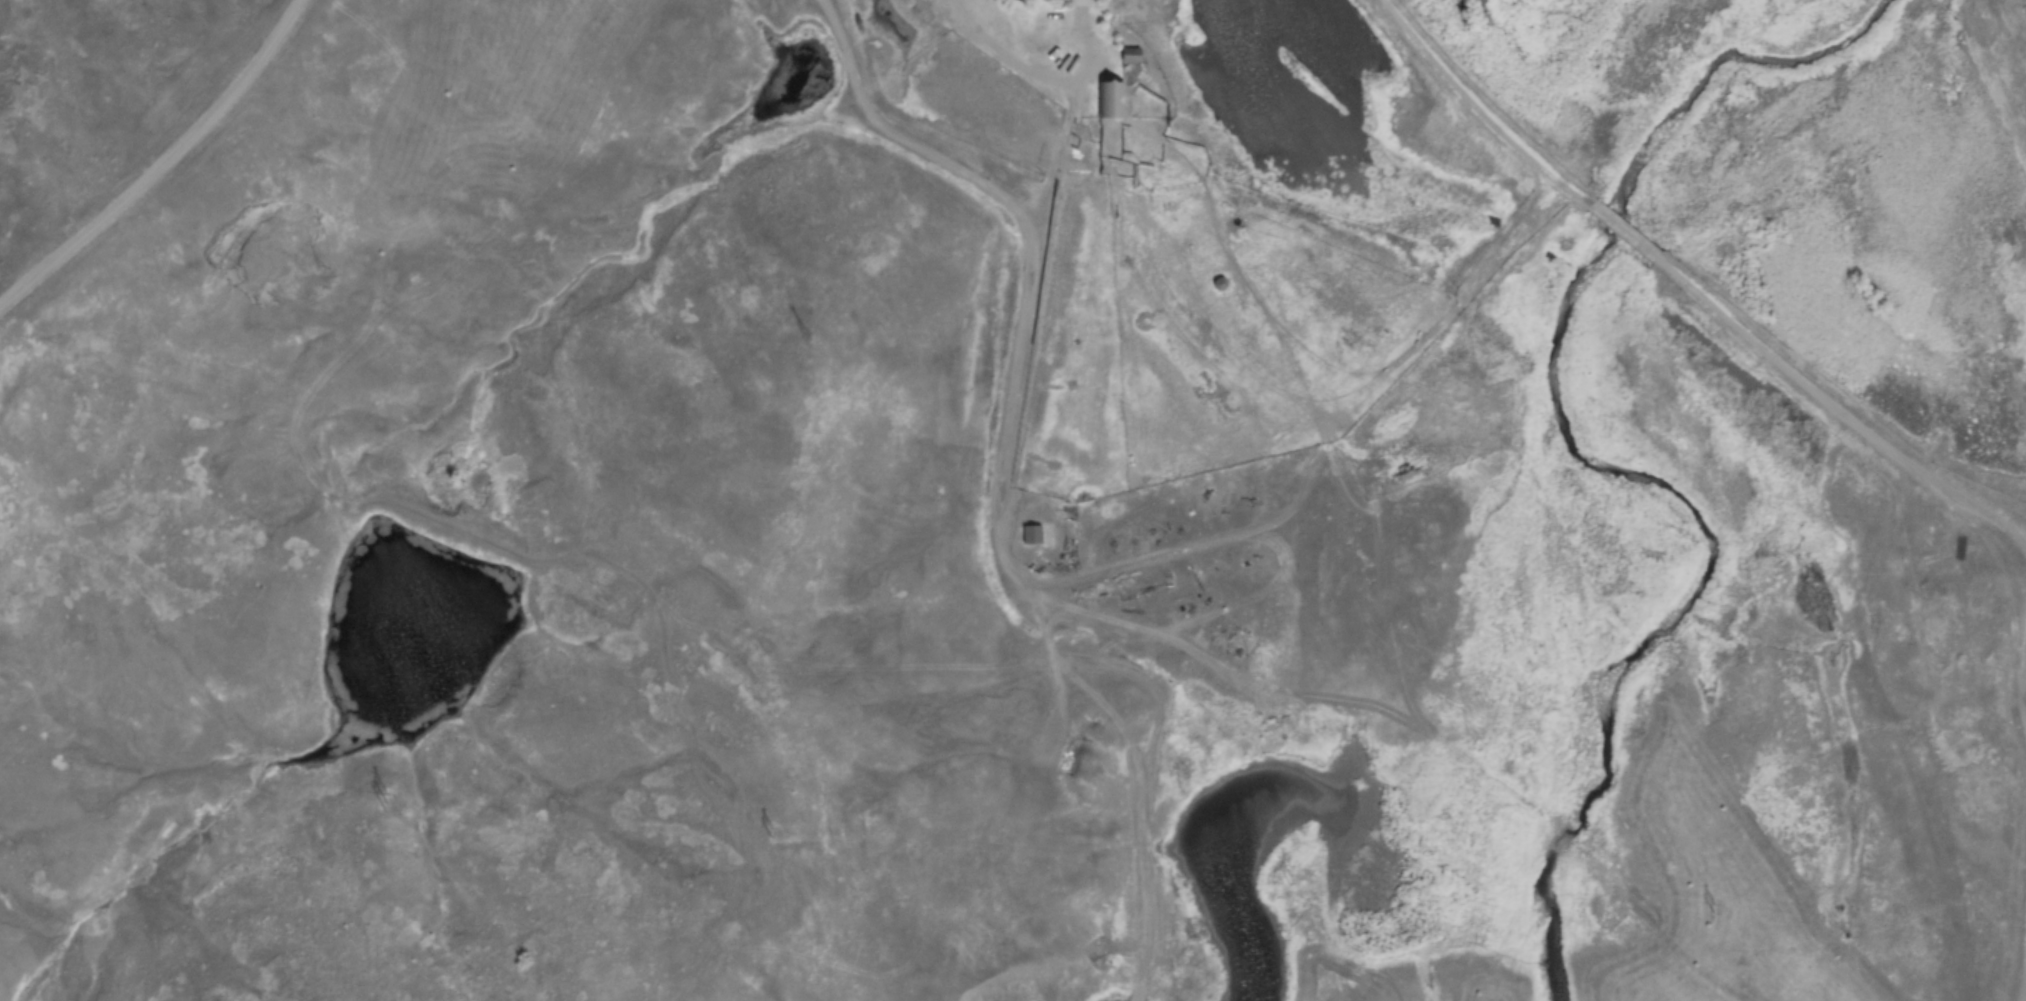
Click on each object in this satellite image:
building: (1068, 1)
road: (1030, 70)
road: (1472, 112)
road: (162, 165)
road: (1623, 243)
river: (1550, 395)
road: (1836, 417)
building: (1030, 536)
power tower: (383, 804)
power tower: (773, 834)
power tower: (1288, 875)
power tower: (1712, 909)

